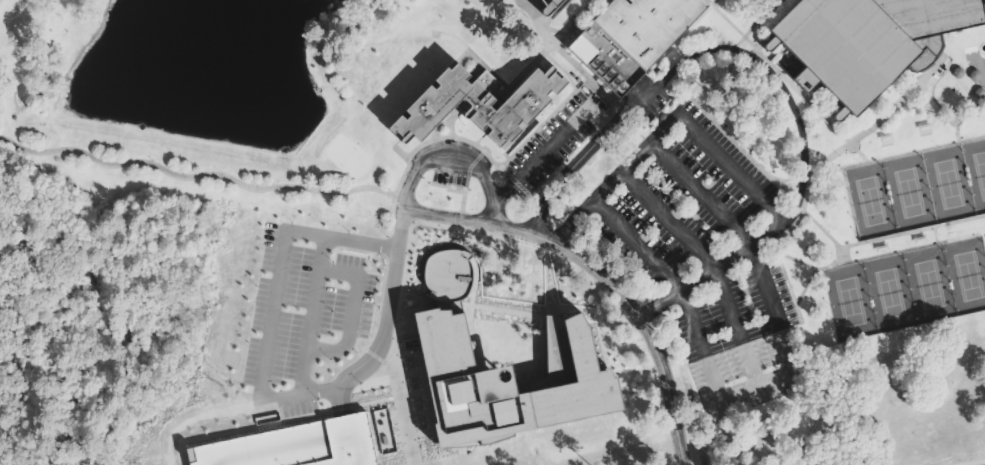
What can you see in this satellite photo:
building: (549, 6)
road: (754, 24)
building: (632, 38)
building: (865, 42)
road: (735, 49)
road: (693, 54)
road: (574, 60)
road: (724, 87)
parking lot: (648, 99)
road: (909, 103)
building: (478, 104)
road: (930, 113)
road: (614, 122)
road: (870, 126)
road: (953, 130)
road: (629, 140)
road: (424, 142)
road: (736, 142)
road: (549, 145)
parking lot: (551, 146)
road: (484, 151)
road: (860, 151)
road: (898, 155)
road: (455, 157)
road: (729, 166)
road: (469, 167)
park: (979, 173)
road: (194, 176)
road: (516, 182)
park: (946, 184)
park: (906, 193)
road: (698, 194)
road: (464, 199)
road: (395, 200)
park: (868, 201)
road: (404, 210)
road: (461, 218)
road: (413, 222)
road: (460, 226)
road: (488, 233)
road: (935, 234)
road: (887, 236)
road: (774, 239)
road: (842, 254)
road: (880, 254)
parking lot: (706, 255)
road: (814, 267)
road: (601, 275)
park: (966, 276)
park: (926, 285)
road: (546, 287)
park: (887, 293)
road: (276, 299)
park: (847, 302)
road: (426, 303)
road: (686, 303)
parking lot: (305, 308)
road: (353, 309)
road: (503, 309)
road: (469, 312)
road: (313, 314)
road: (372, 321)
road: (388, 321)
building: (557, 333)
road: (626, 341)
road: (743, 345)
road: (375, 355)
road: (637, 370)
building: (498, 371)
road: (622, 385)
road: (403, 410)
building: (302, 445)
parking lot: (302, 445)
road: (466, 460)

